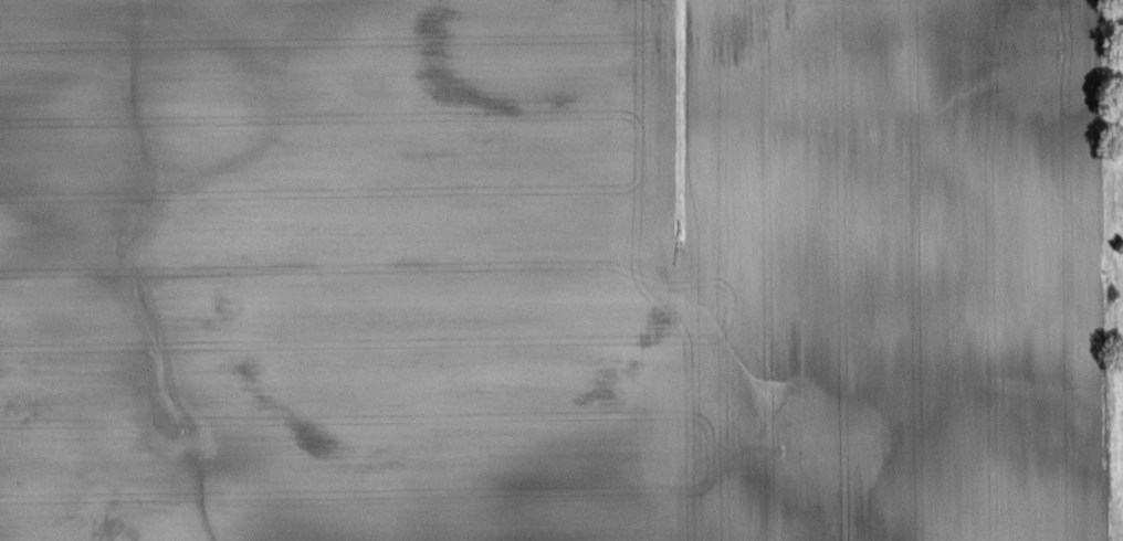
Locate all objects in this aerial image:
park: (1114, 250)

